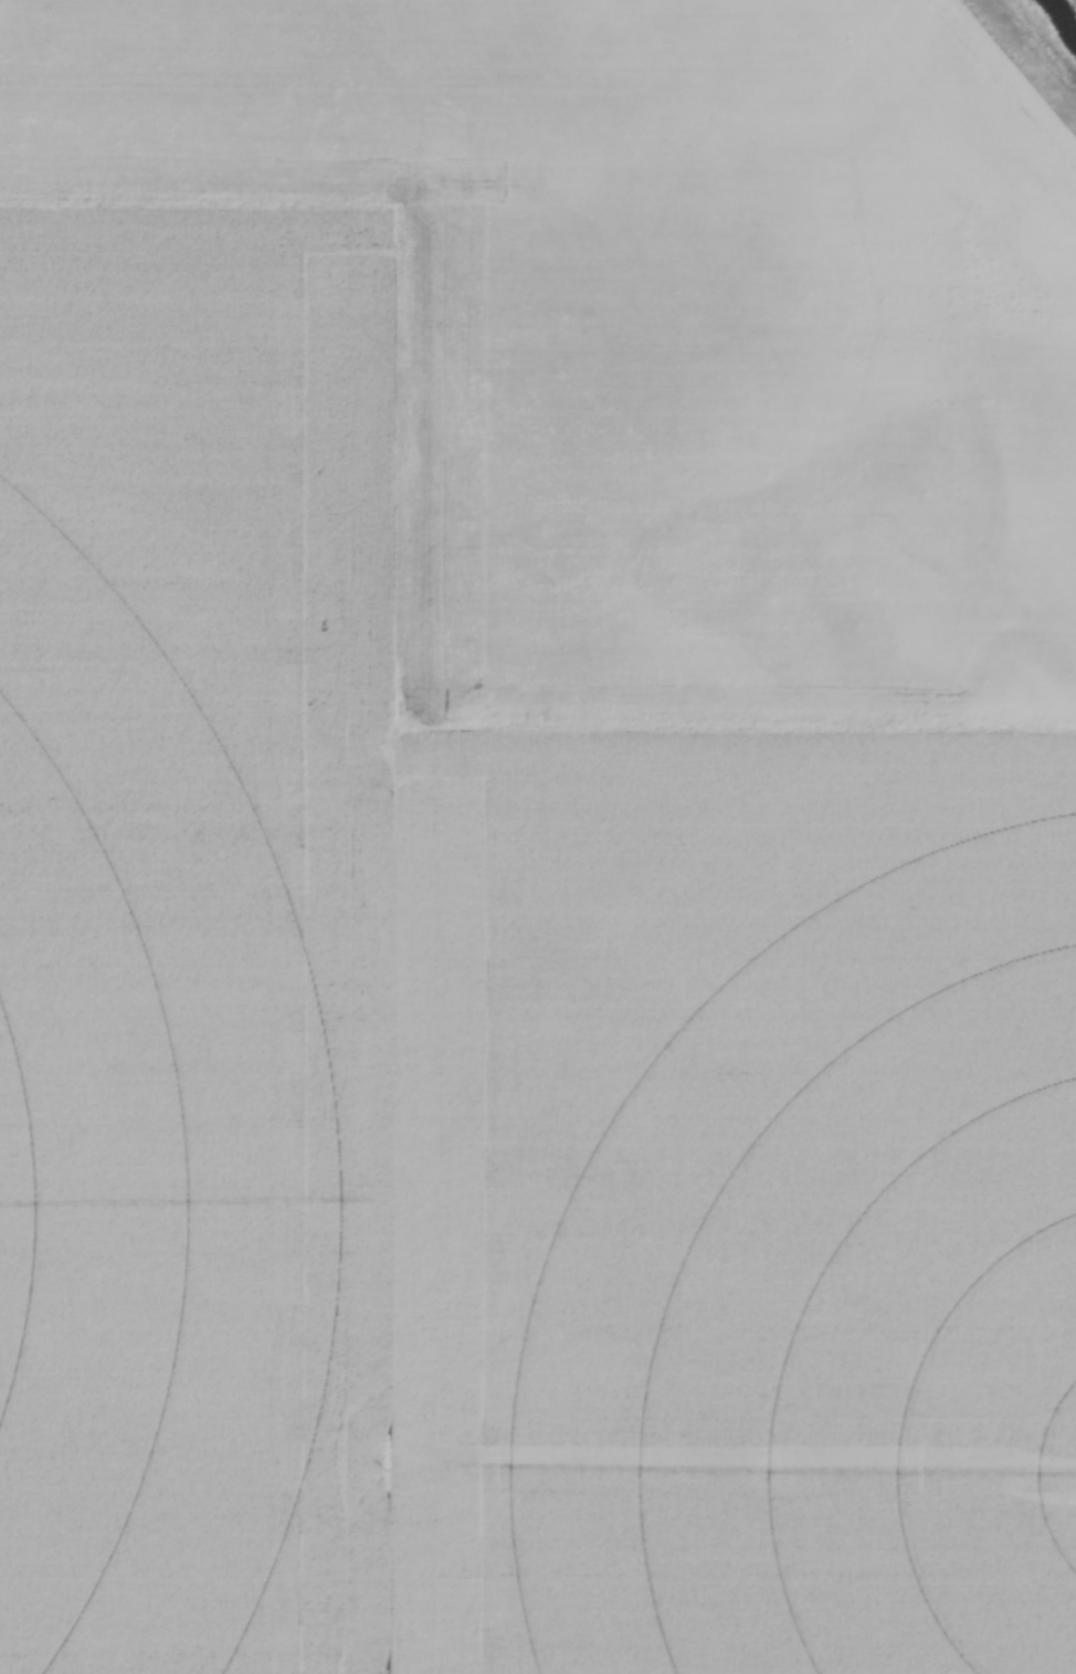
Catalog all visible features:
river: (1059, 21)

